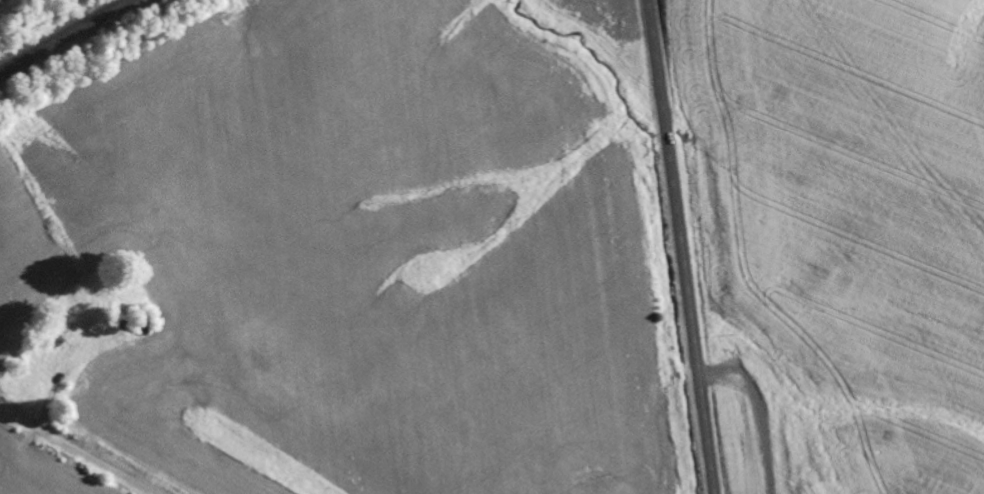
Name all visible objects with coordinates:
railway: (63, 35)
road: (680, 247)
road: (73, 452)

